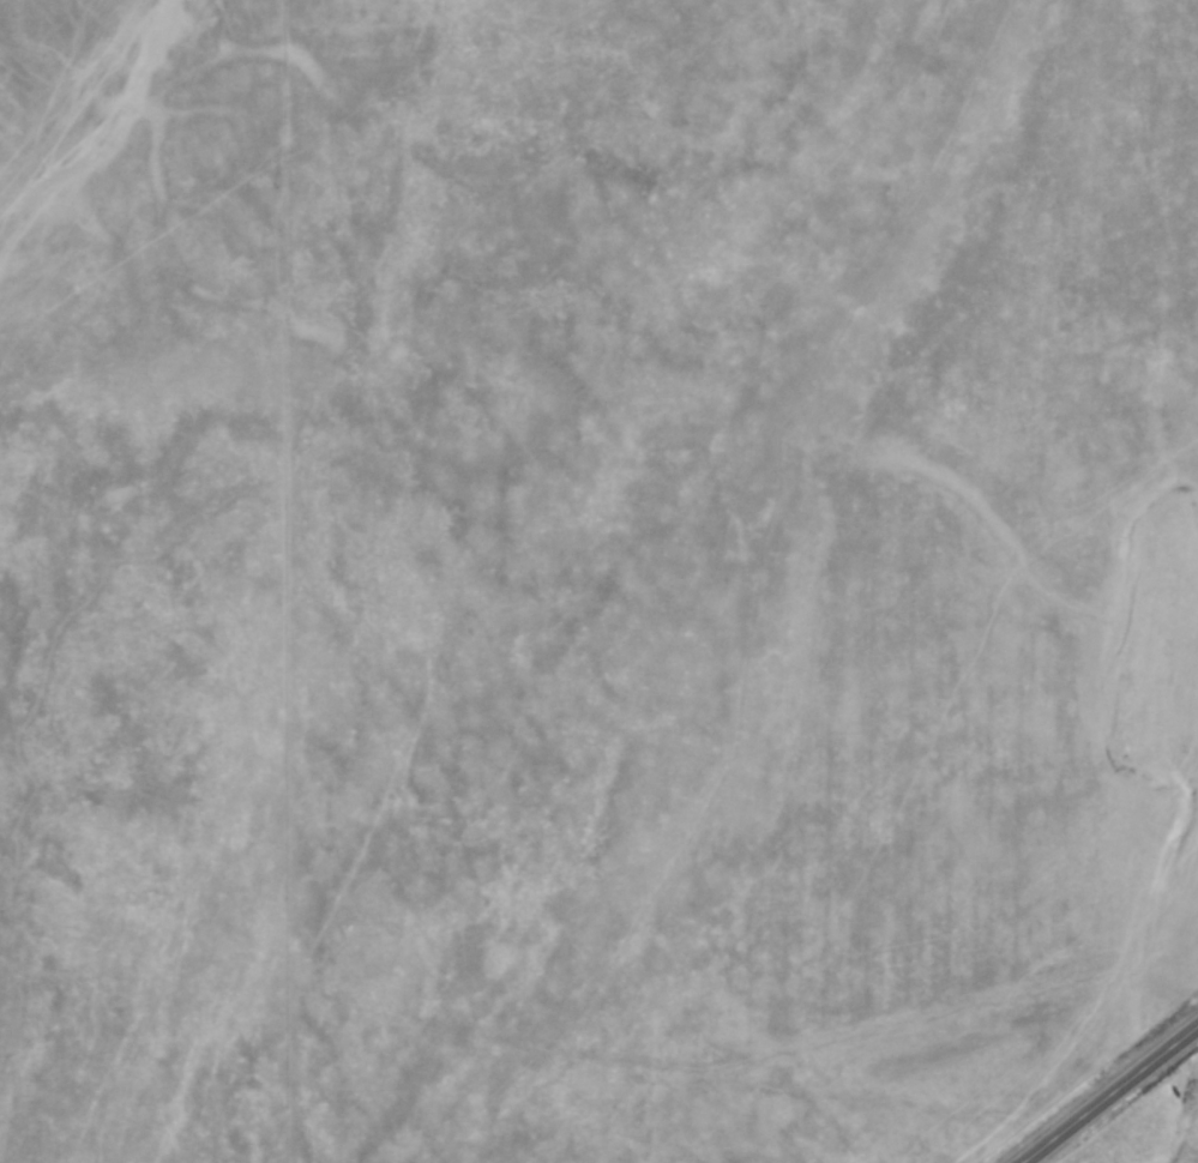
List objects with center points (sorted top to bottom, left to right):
road: (1110, 1095)

